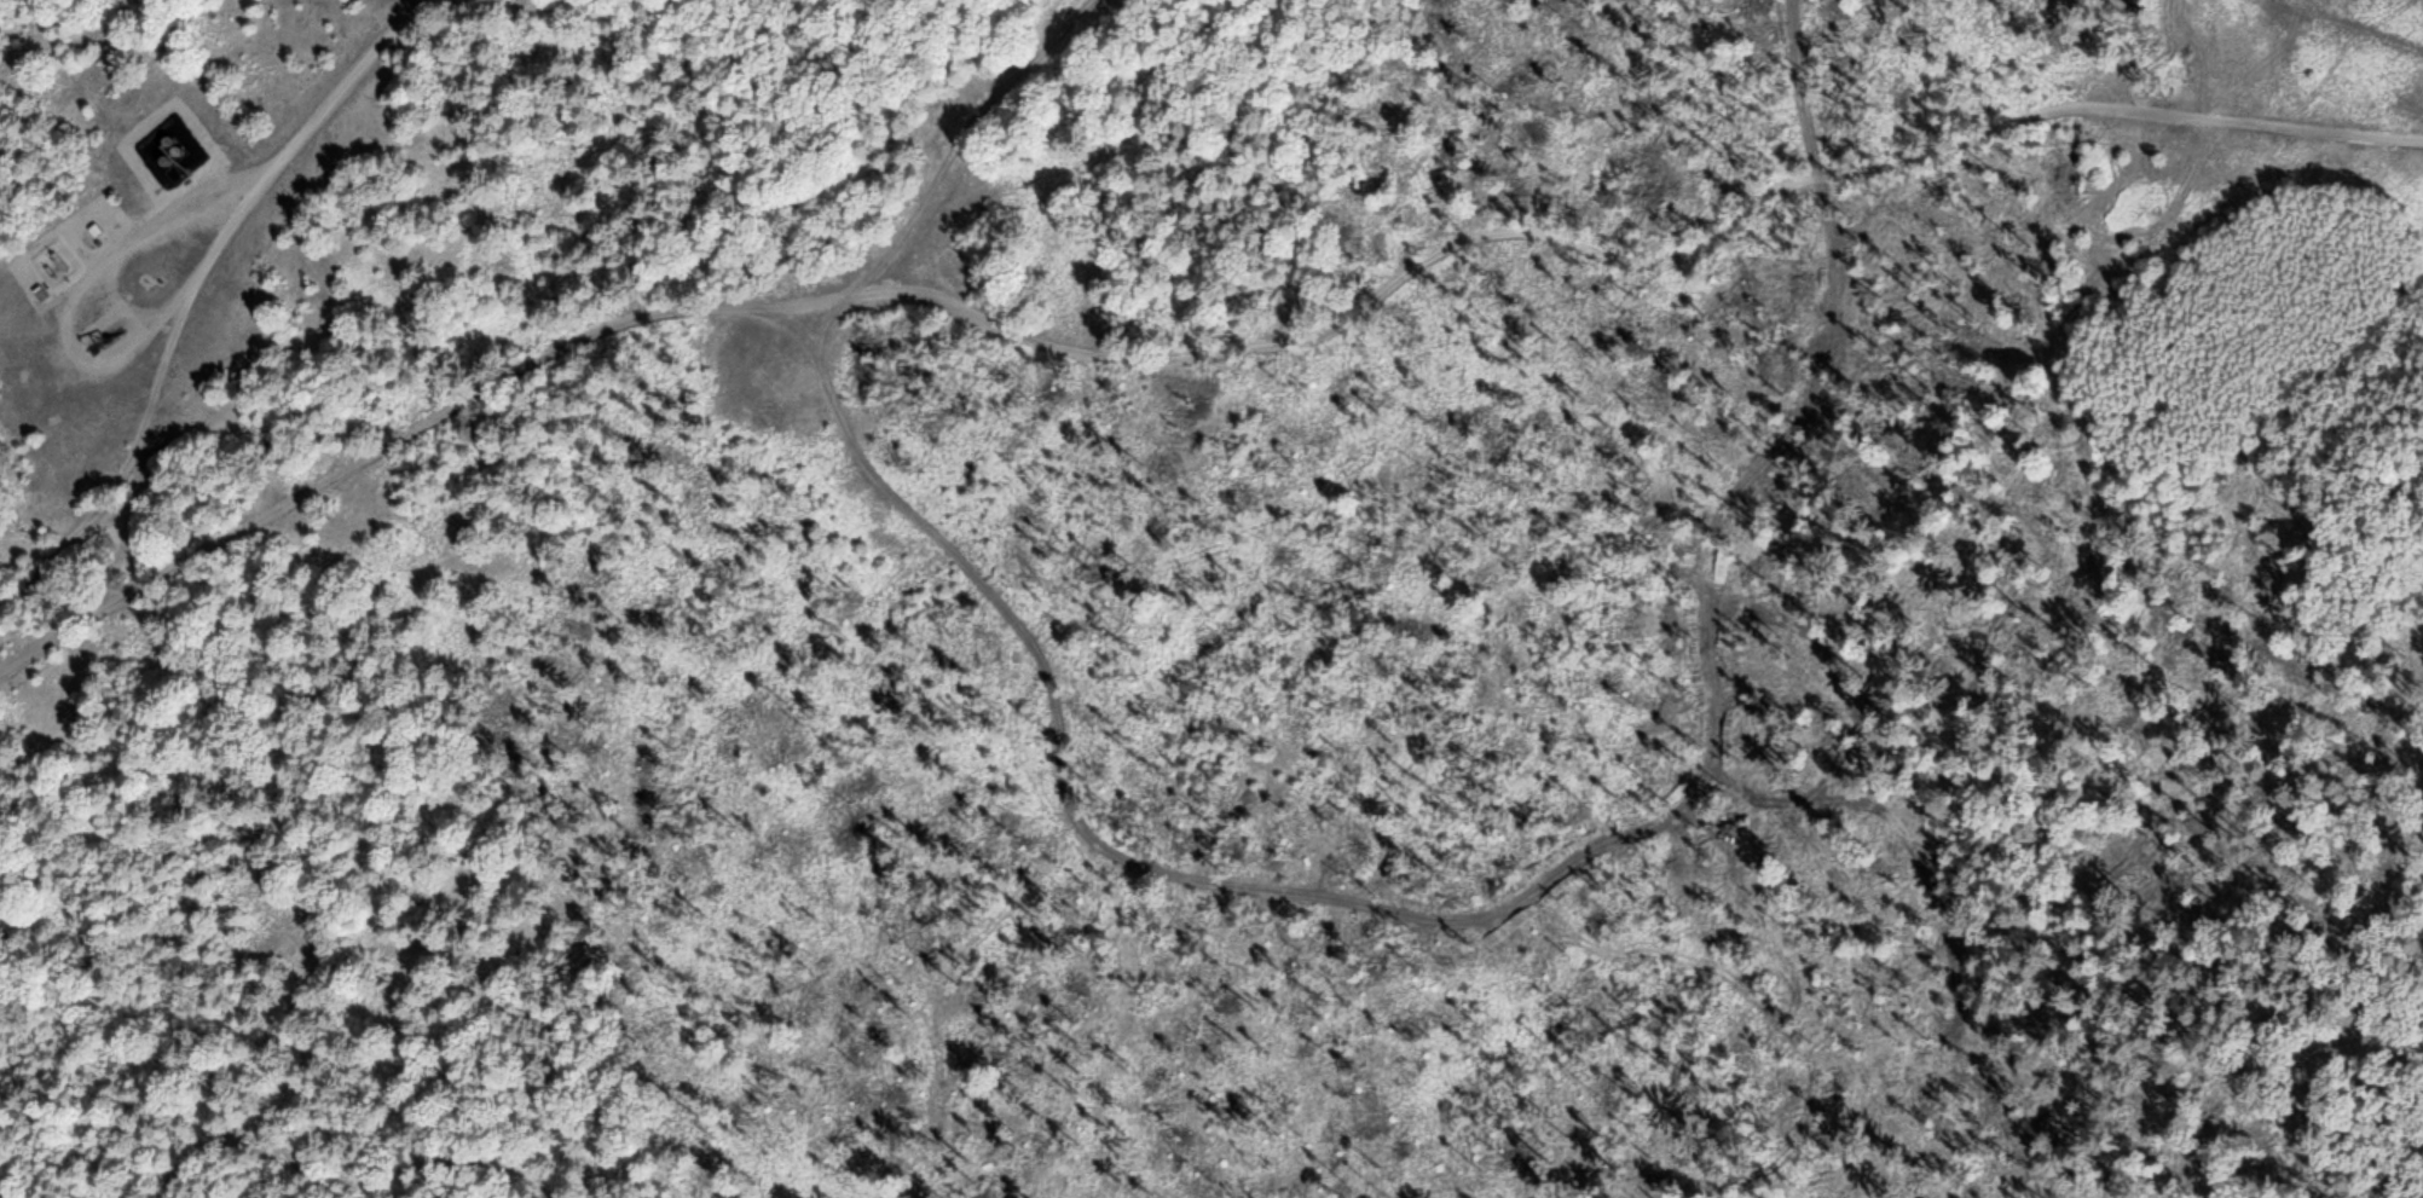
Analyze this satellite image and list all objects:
road: (2349, 24)
road: (308, 121)
road: (122, 253)
petroleum well: (96, 335)
road: (65, 337)
road: (1193, 352)
road: (129, 445)

